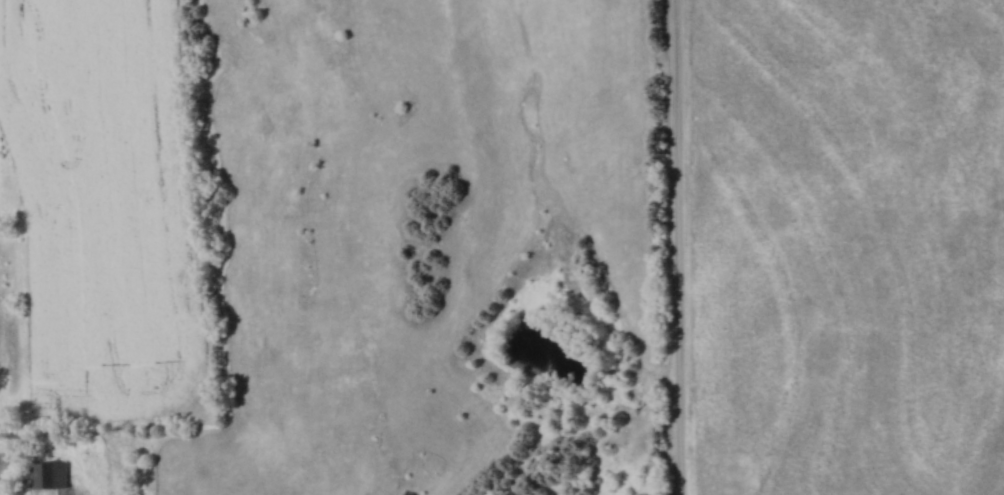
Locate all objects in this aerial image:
crop: (113, 198)
road: (681, 247)
building: (48, 474)

